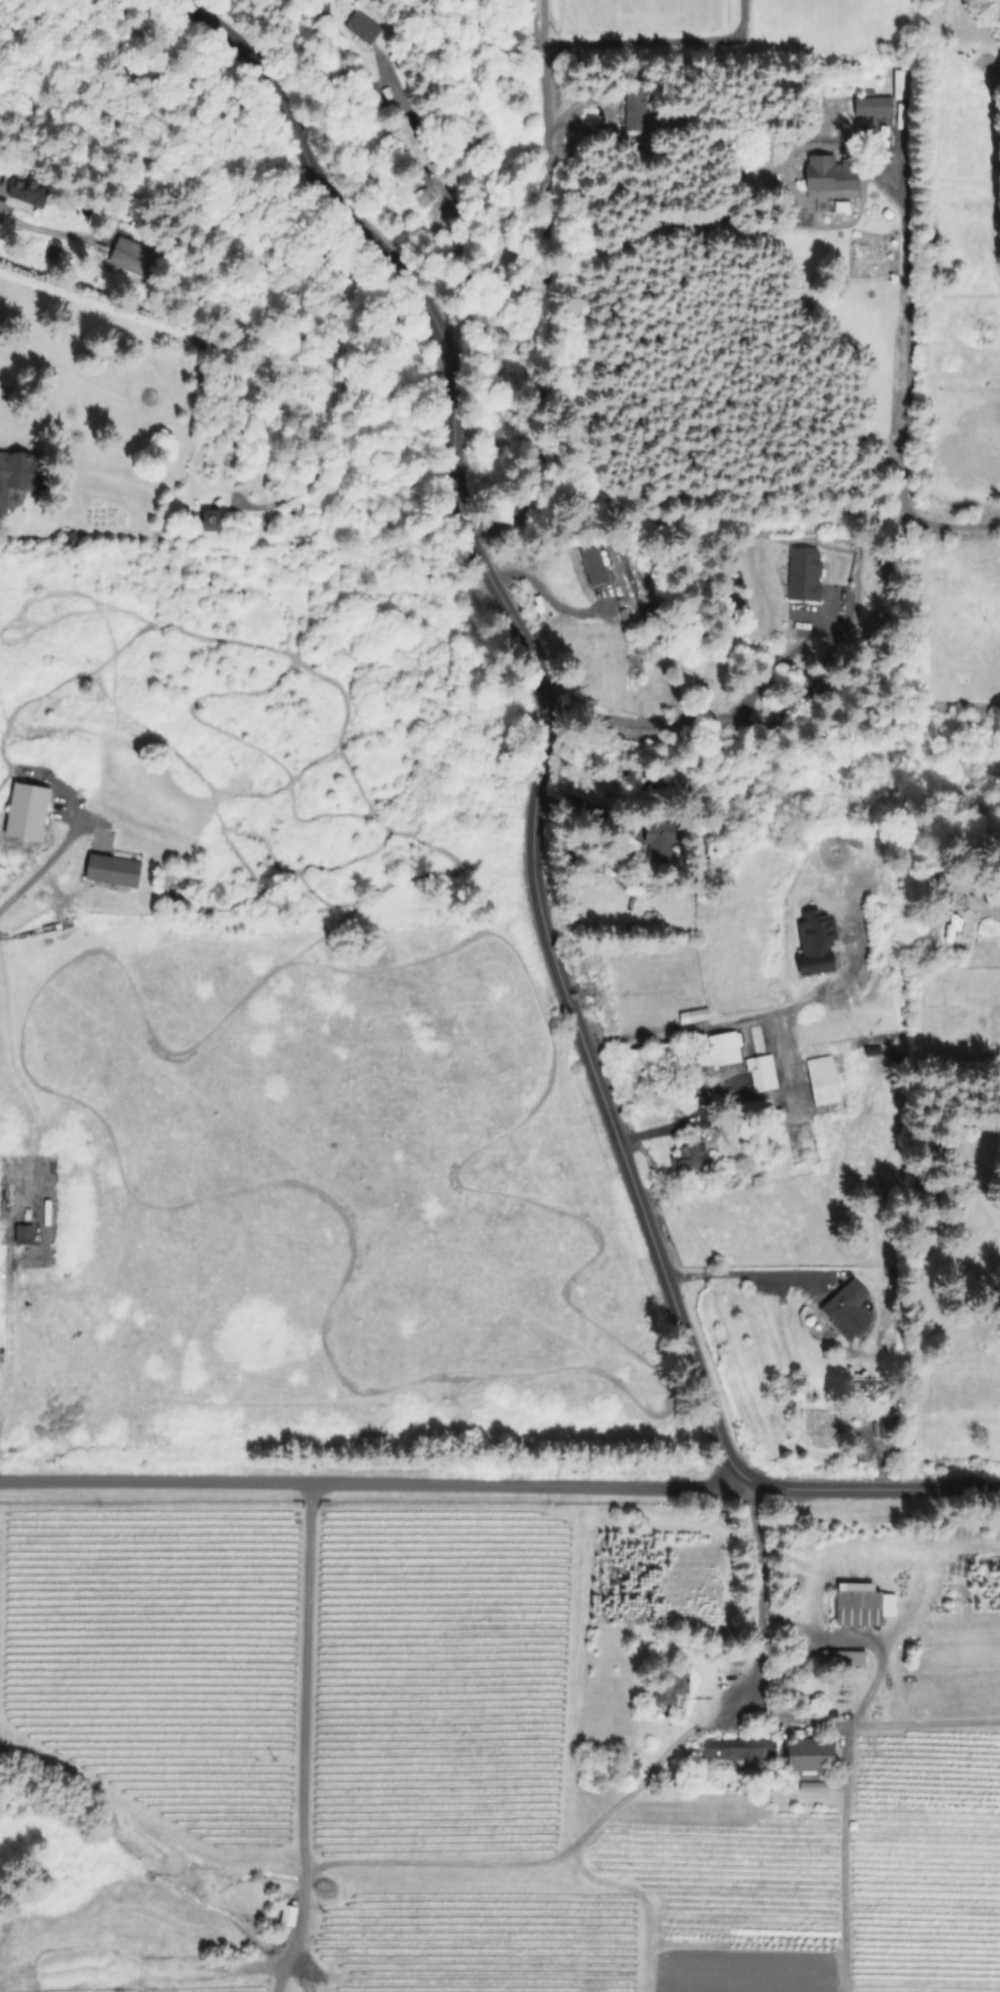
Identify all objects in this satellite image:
road: (522, 25)
building: (364, 27)
road: (652, 45)
building: (874, 105)
building: (637, 109)
building: (679, 118)
building: (408, 139)
building: (831, 173)
building: (32, 191)
building: (423, 199)
building: (137, 257)
road: (532, 279)
road: (904, 395)
building: (20, 473)
building: (313, 509)
building: (214, 519)
building: (569, 574)
building: (598, 674)
road: (700, 721)
building: (31, 809)
road: (534, 827)
building: (660, 840)
road: (41, 859)
building: (114, 871)
building: (817, 945)
building: (695, 1016)
road: (701, 1028)
building: (725, 1047)
building: (763, 1074)
building: (823, 1080)
building: (701, 1088)
road: (738, 1103)
building: (779, 1115)
building: (691, 1156)
building: (29, 1198)
road: (743, 1275)
building: (848, 1310)
road: (5, 1326)
building: (788, 1385)
building: (890, 1425)
road: (375, 1485)
building: (860, 1605)
building: (846, 1657)
road: (312, 1676)
road: (877, 1677)
building: (668, 1685)
building: (741, 1749)
building: (812, 1756)
building: (626, 1769)
road: (641, 1788)
road: (310, 1911)

